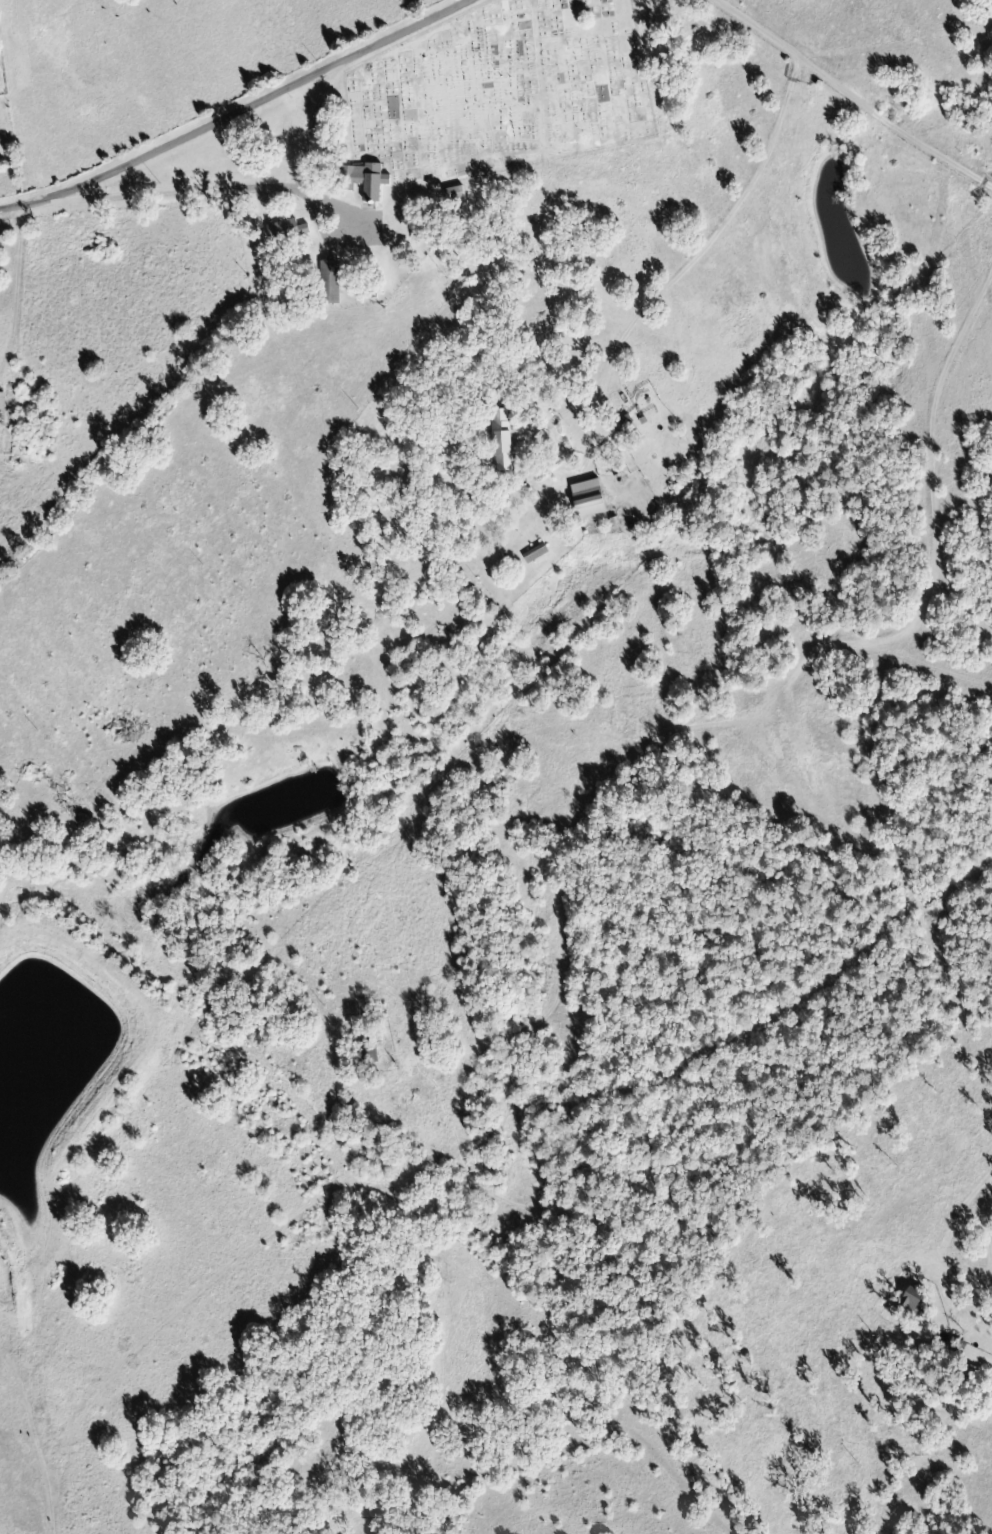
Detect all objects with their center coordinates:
park: (498, 95)
road: (236, 110)
building: (367, 179)
building: (287, 230)
building: (330, 282)
building: (2, 407)
building: (503, 441)
building: (589, 498)
building: (913, 1298)

